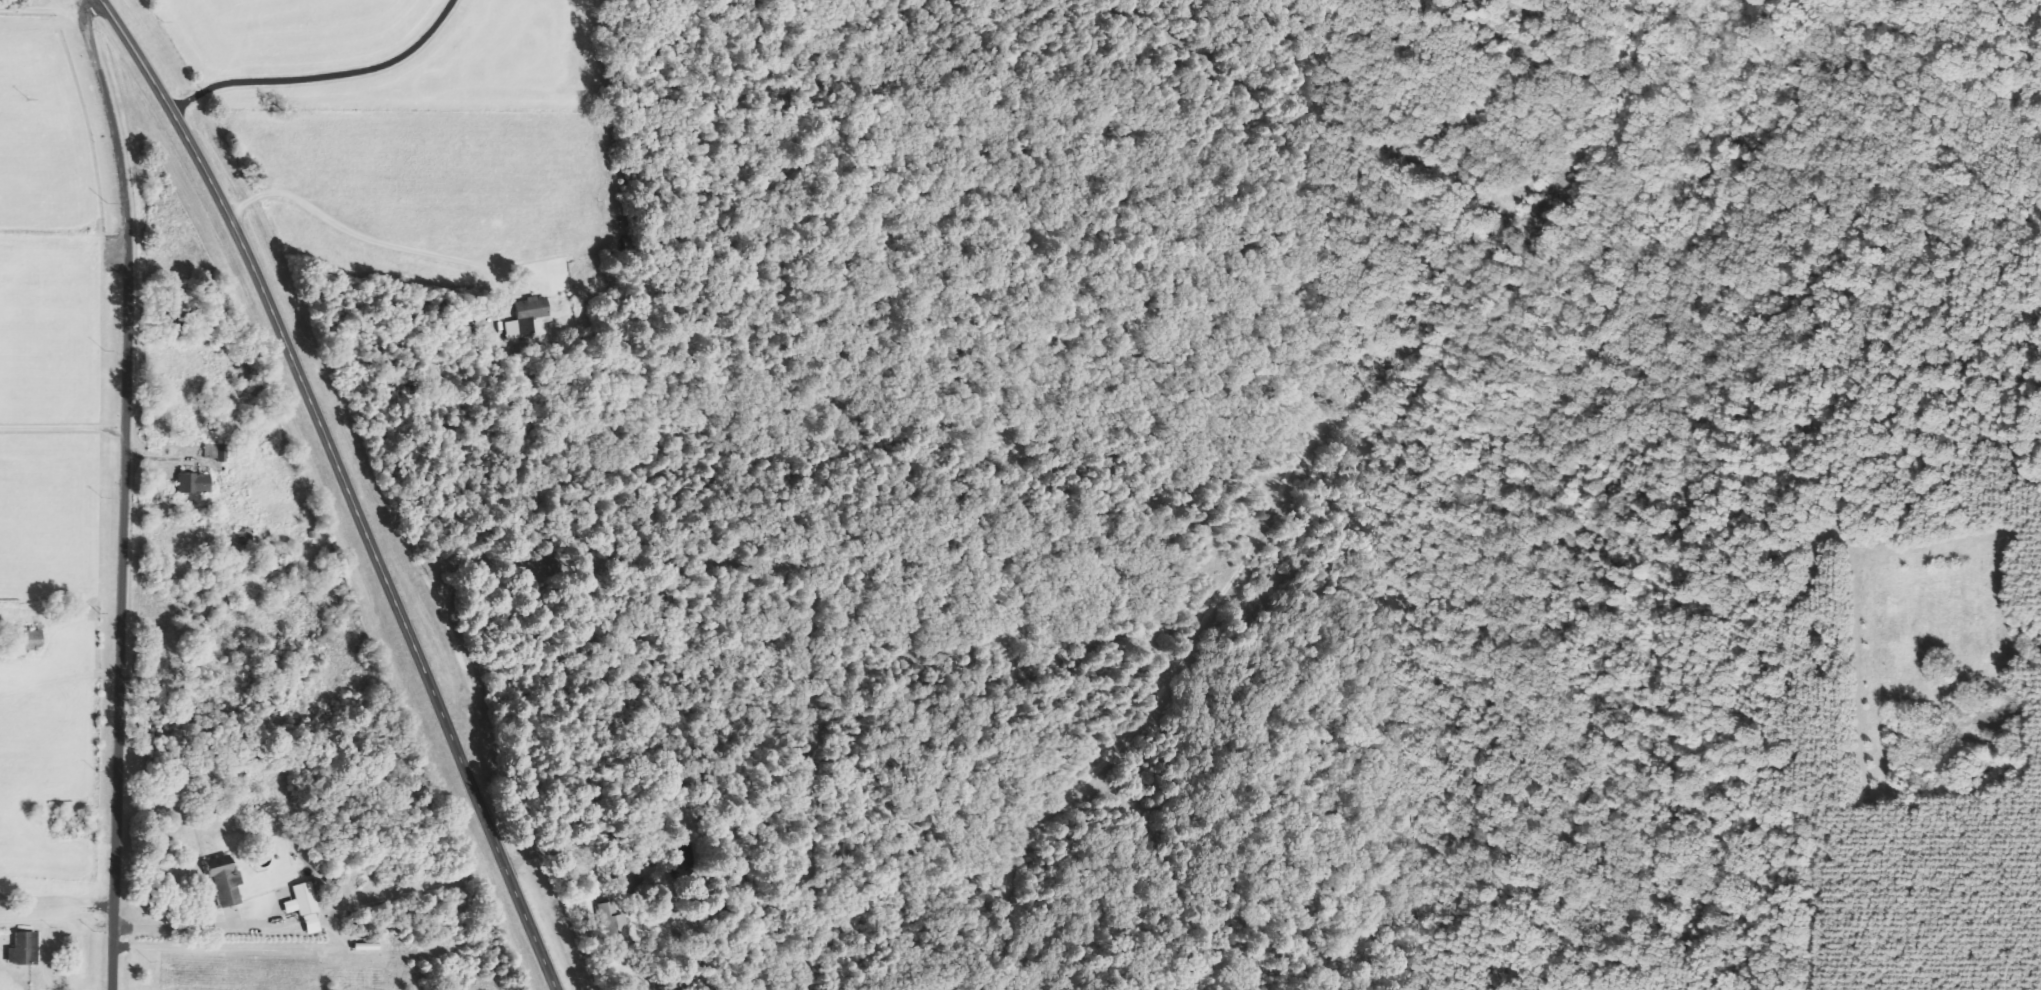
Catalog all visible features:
road: (66, 10)
building: (531, 307)
building: (528, 327)
building: (512, 330)
road: (63, 428)
building: (191, 482)
road: (349, 485)
road: (125, 490)
building: (625, 880)
building: (226, 885)
building: (304, 906)
building: (612, 923)
road: (194, 926)
building: (24, 949)

